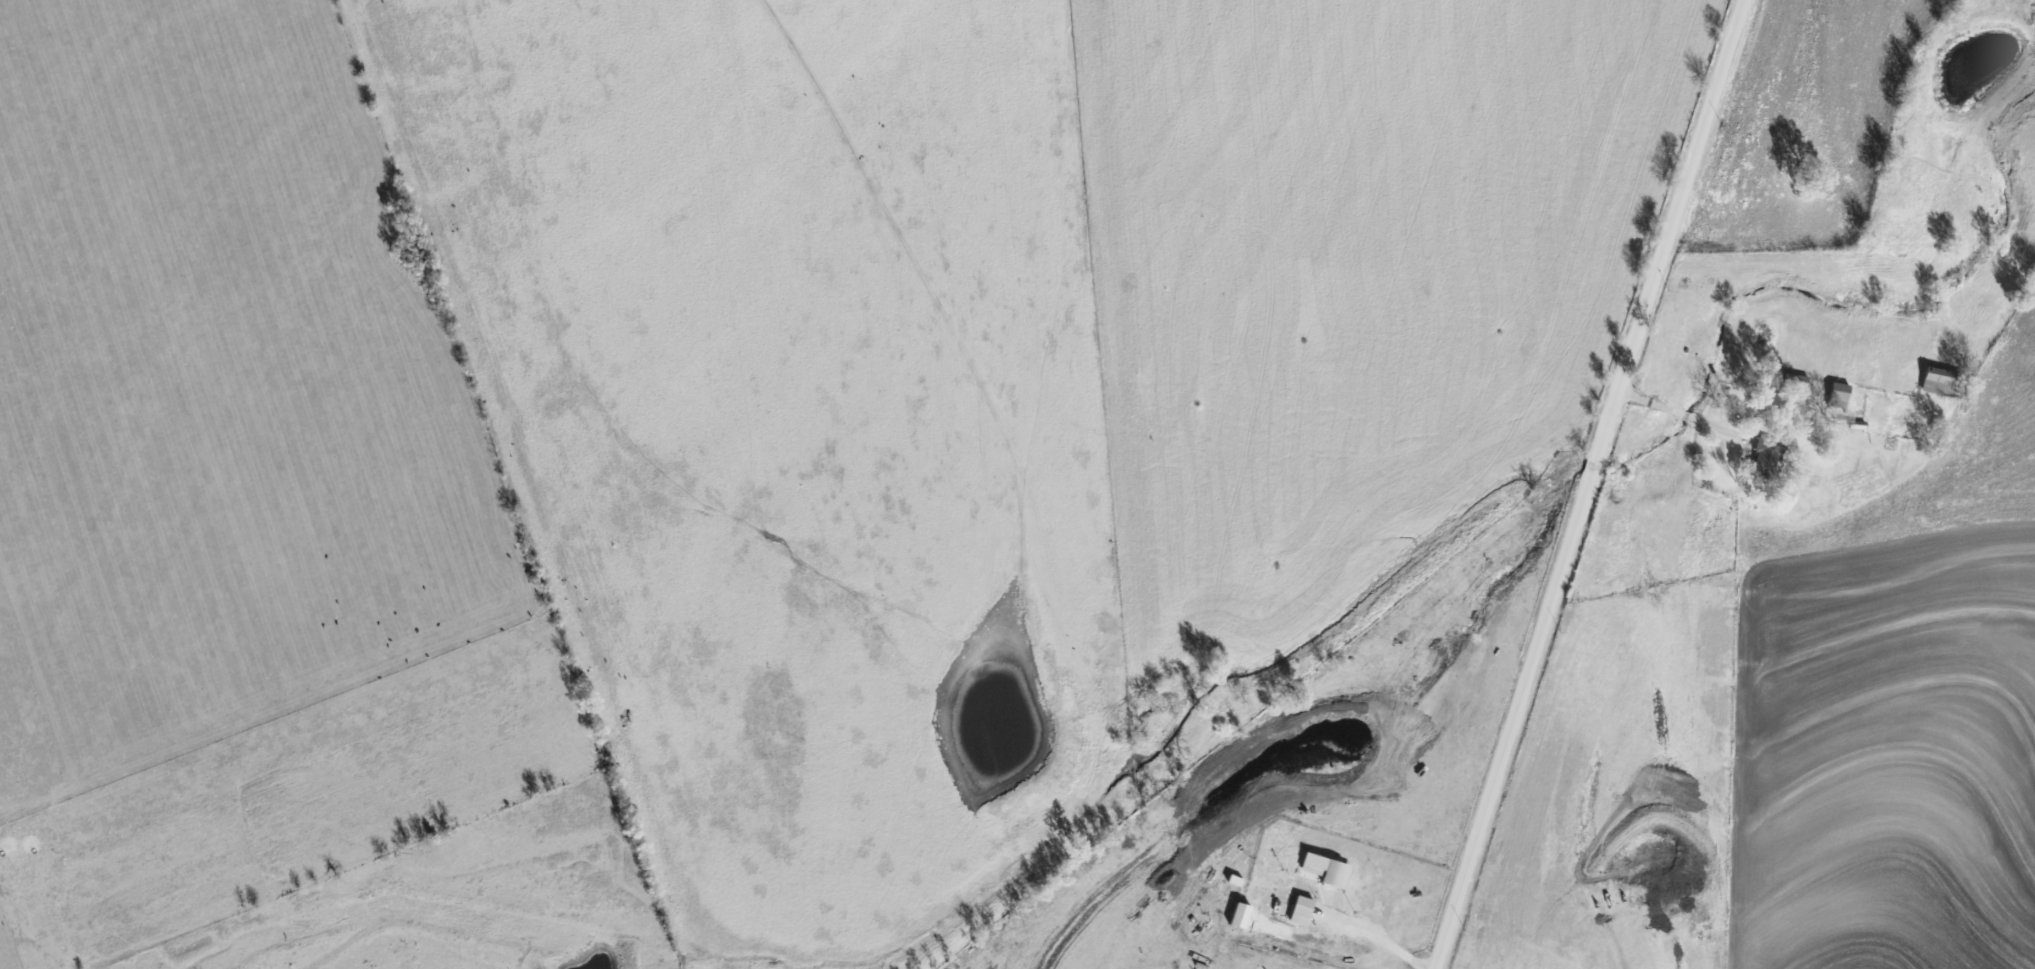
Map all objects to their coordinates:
building: (1938, 381)
road: (1682, 412)
building: (1767, 453)
road: (1590, 483)
building: (1327, 869)
building: (1303, 910)
building: (1241, 914)

